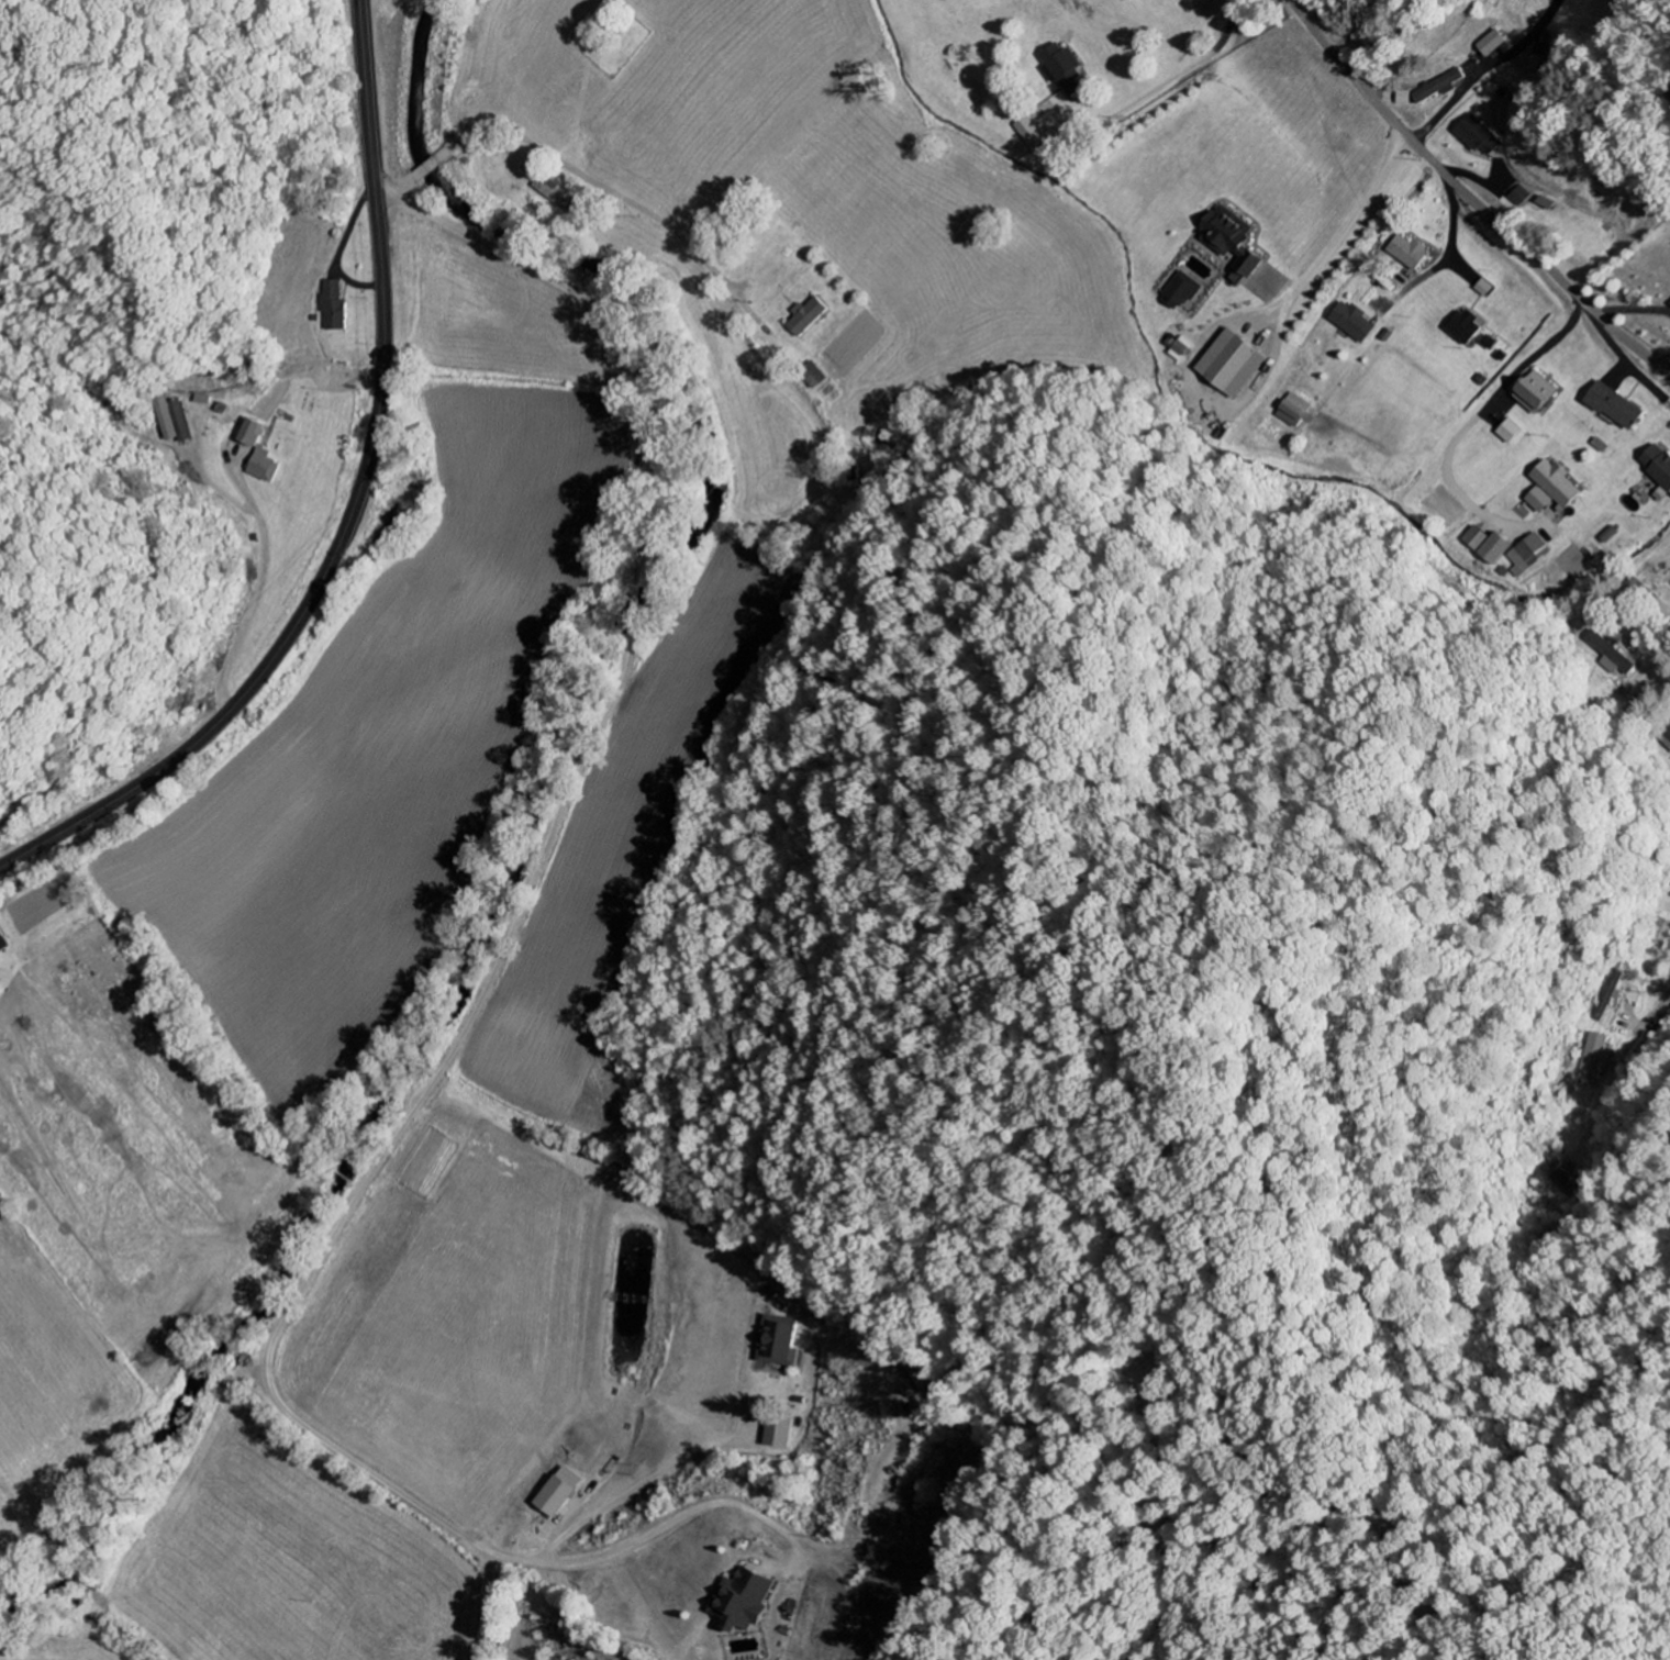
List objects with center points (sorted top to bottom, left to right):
building: (1492, 44)
building: (1066, 70)
road: (1469, 85)
building: (1441, 87)
building: (1035, 136)
building: (1480, 136)
road: (542, 152)
road: (1470, 198)
building: (1521, 198)
building: (1235, 239)
road: (1450, 243)
building: (1410, 253)
building: (1184, 291)
building: (332, 308)
building: (810, 317)
building: (1355, 322)
building: (1465, 327)
building: (1490, 343)
building: (1236, 365)
road: (1668, 368)
building: (1537, 393)
building: (1616, 406)
building: (175, 421)
building: (1511, 432)
building: (253, 434)
building: (1659, 465)
building: (265, 466)
building: (1554, 489)
road: (350, 510)
building: (1478, 539)
building: (1496, 550)
building: (1529, 556)
building: (1612, 656)
building: (1666, 739)
building: (1660, 934)
building: (1, 947)
road: (1652, 1015)
building: (779, 1341)
building: (778, 1433)
building: (558, 1492)
building: (746, 1601)

